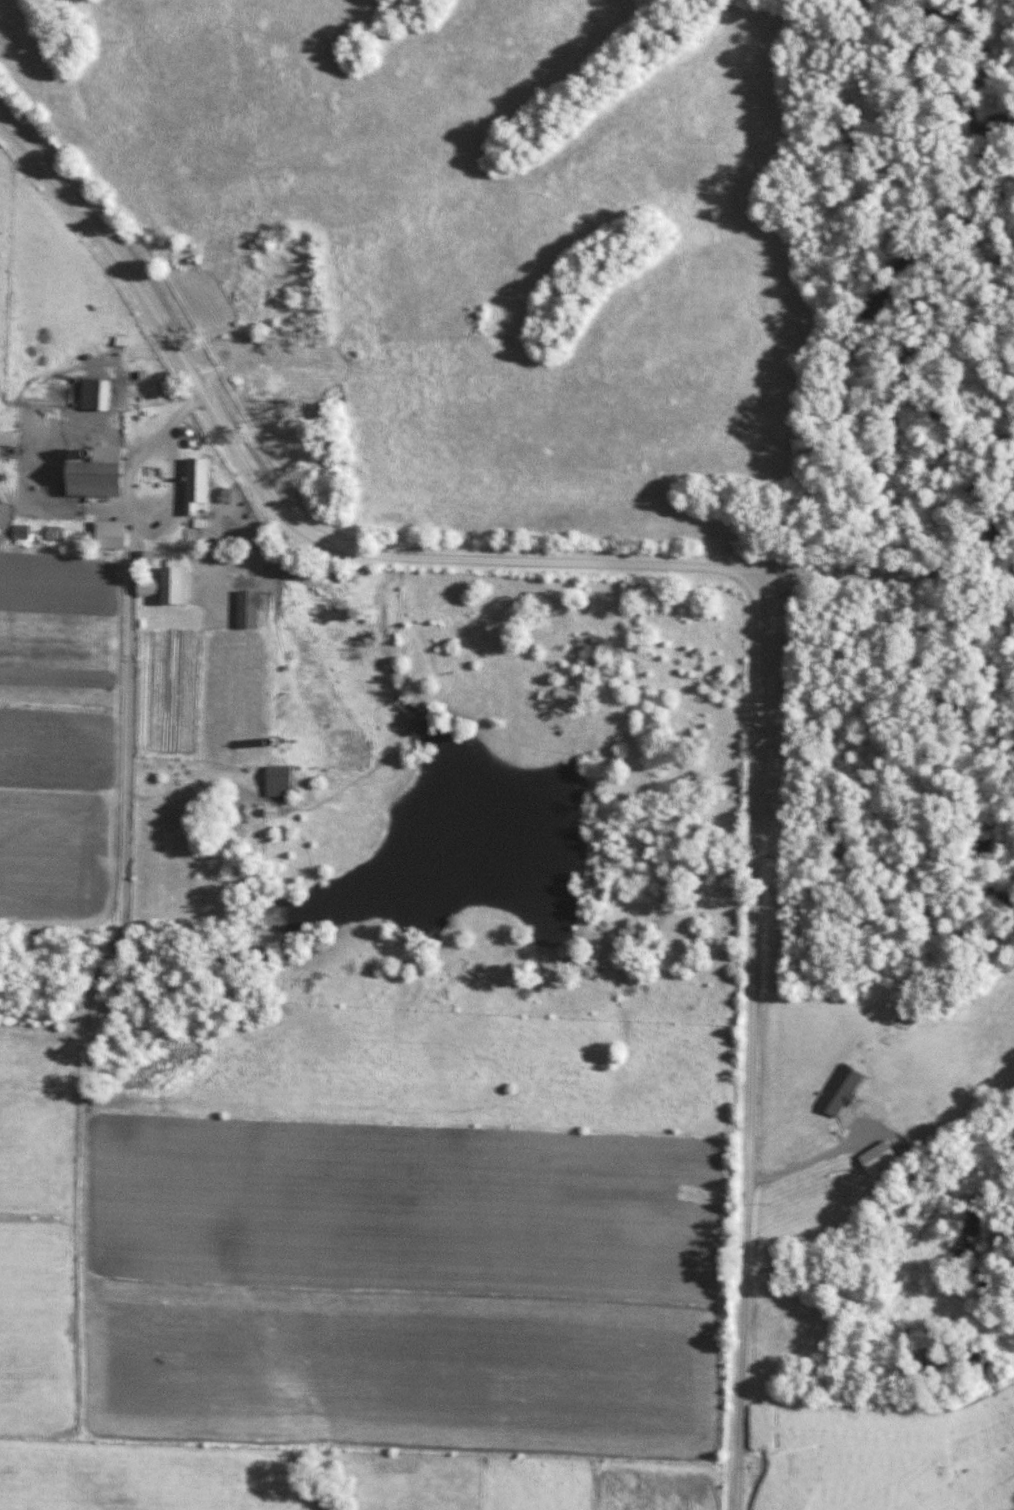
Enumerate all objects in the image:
building: (221, 248)
building: (264, 386)
building: (95, 394)
building: (89, 479)
building: (196, 480)
road: (179, 501)
road: (395, 561)
building: (172, 585)
building: (277, 781)
road: (129, 798)
road: (753, 1042)
road: (816, 1167)

